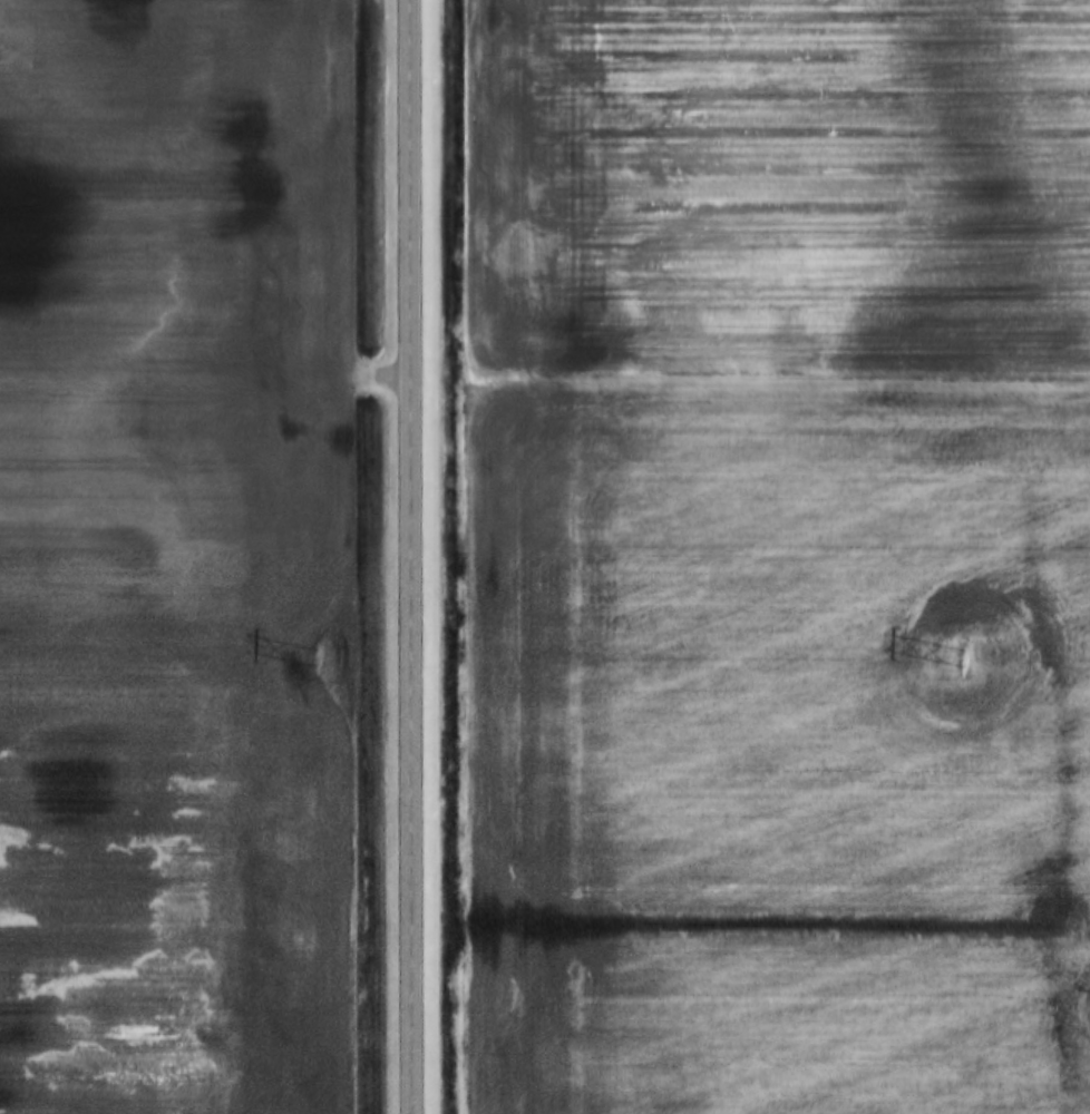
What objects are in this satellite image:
crop: (778, 555)
road: (413, 557)
crop: (177, 559)
power tower: (317, 658)
power tower: (967, 659)

